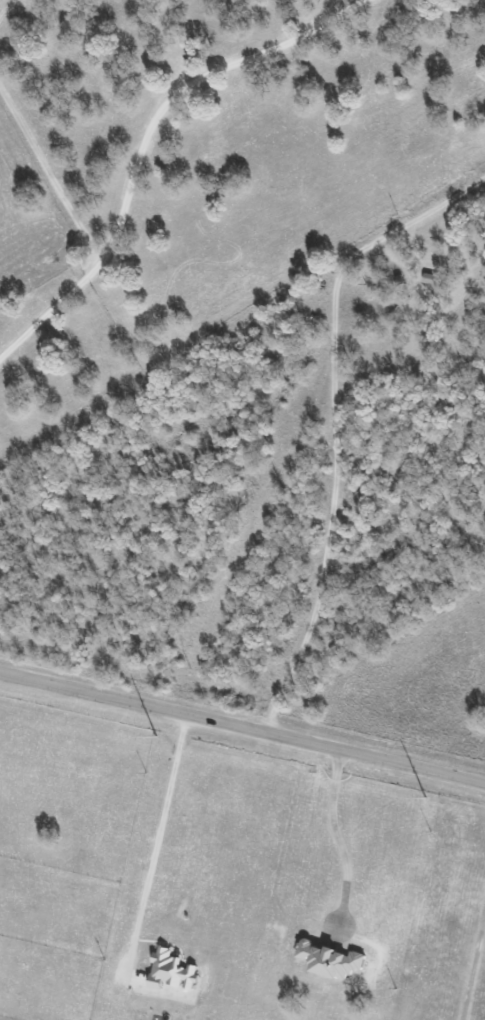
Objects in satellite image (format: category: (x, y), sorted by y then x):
road: (145, 136)
road: (338, 415)
road: (242, 719)
power tower: (156, 737)
power tower: (425, 797)
road: (159, 838)
road: (337, 838)
building: (329, 961)
building: (171, 970)
road: (475, 977)

